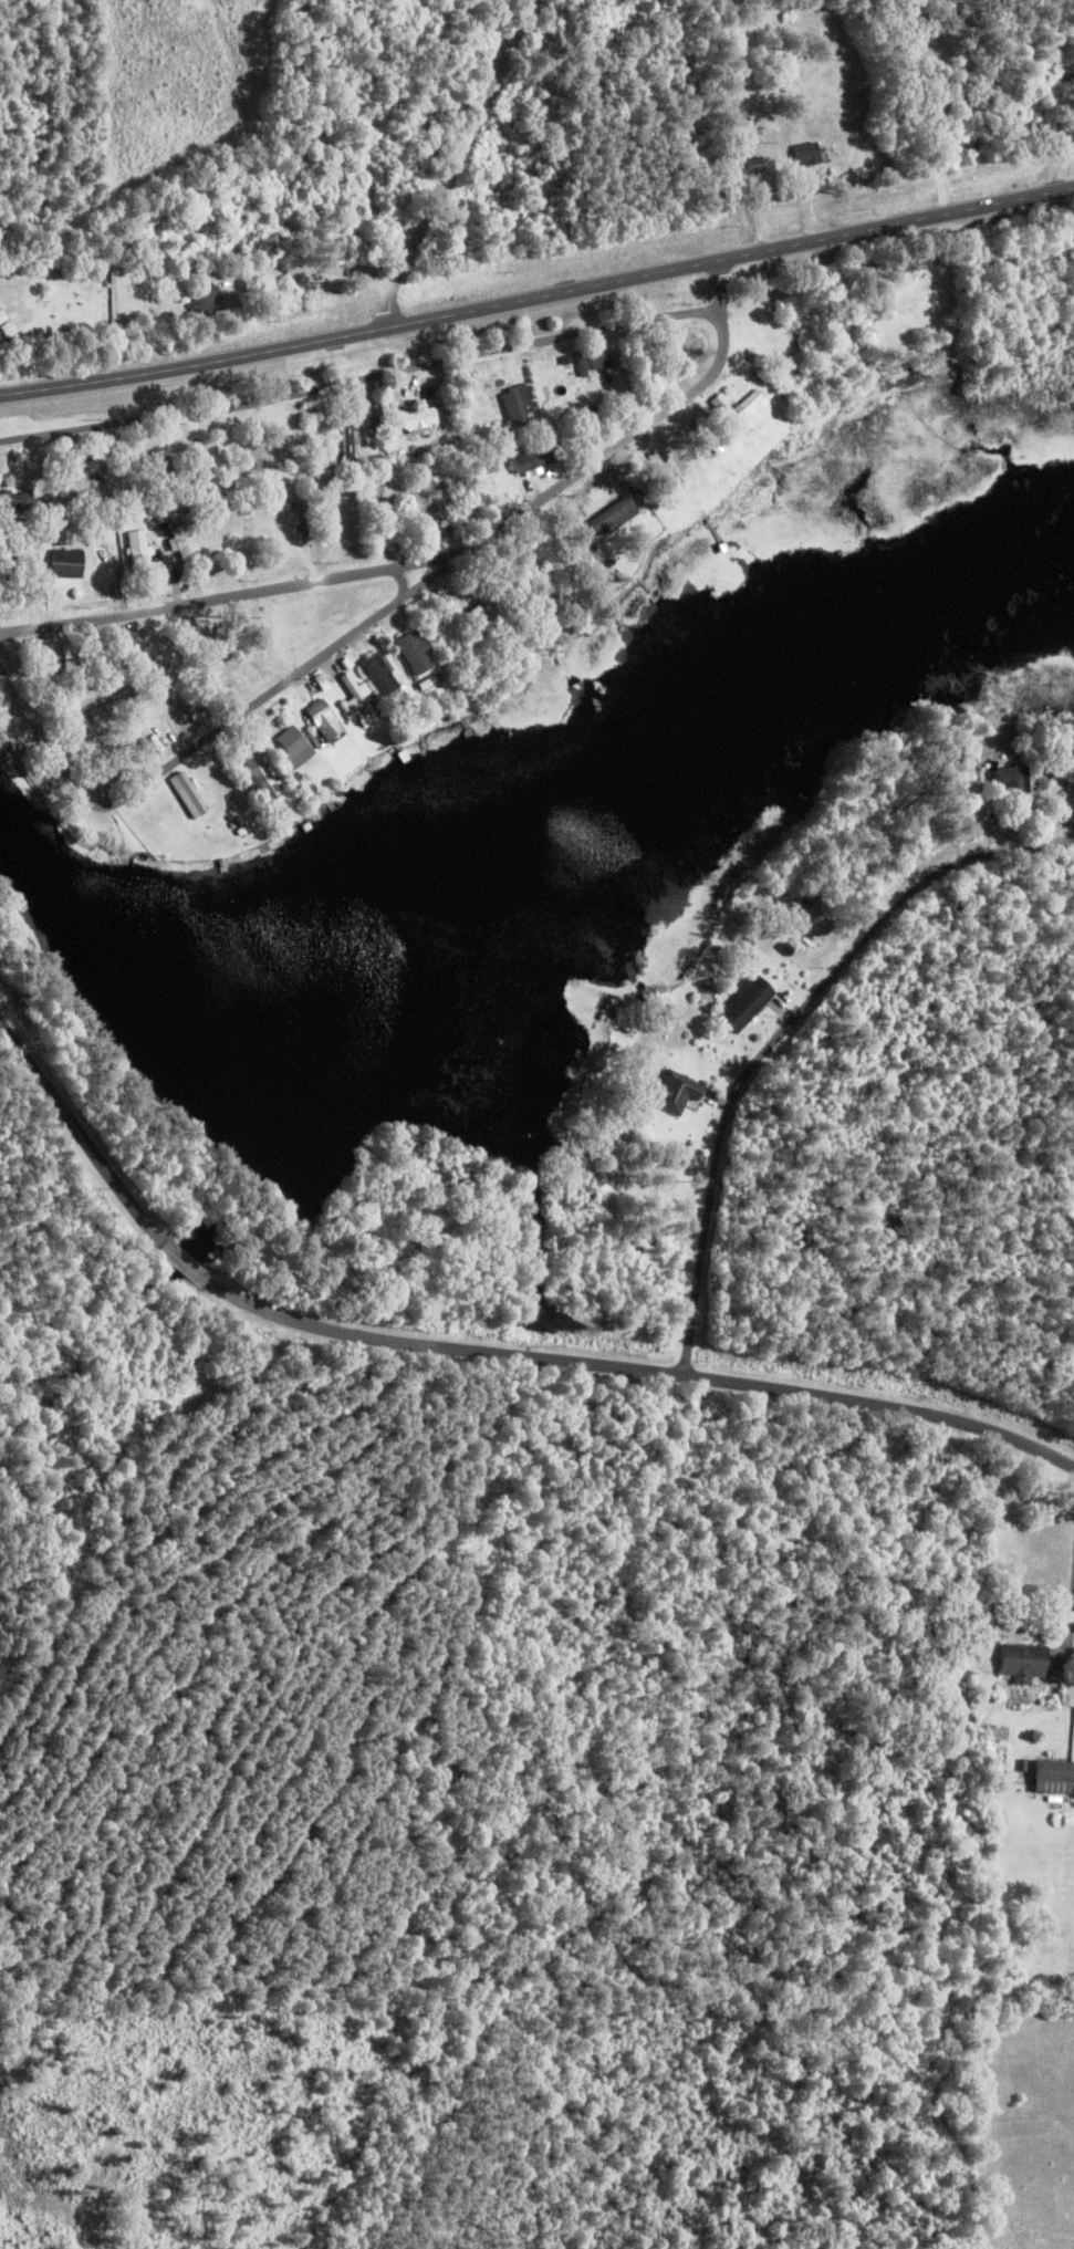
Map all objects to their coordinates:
building: (1064, 80)
building: (806, 155)
road: (420, 165)
building: (752, 167)
building: (894, 270)
road: (538, 298)
building: (207, 301)
building: (7, 325)
building: (677, 356)
building: (593, 362)
road: (361, 378)
building: (557, 388)
building: (519, 406)
building: (749, 408)
building: (420, 421)
building: (348, 448)
building: (533, 461)
building: (491, 465)
building: (166, 472)
building: (24, 503)
building: (442, 507)
building: (309, 517)
building: (184, 544)
building: (139, 549)
building: (591, 552)
road: (455, 560)
building: (69, 564)
road: (229, 595)
building: (416, 654)
road: (160, 665)
building: (380, 675)
building: (358, 699)
building: (112, 711)
building: (326, 720)
road: (45, 743)
building: (295, 748)
building: (253, 777)
building: (1011, 785)
building: (188, 795)
road: (854, 956)
building: (747, 1003)
dam: (134, 1083)
building: (676, 1093)
road: (82, 1136)
road: (191, 1270)
road: (700, 1272)
river: (97, 1291)
road: (645, 1367)
building: (1025, 1663)
building: (1055, 1778)

